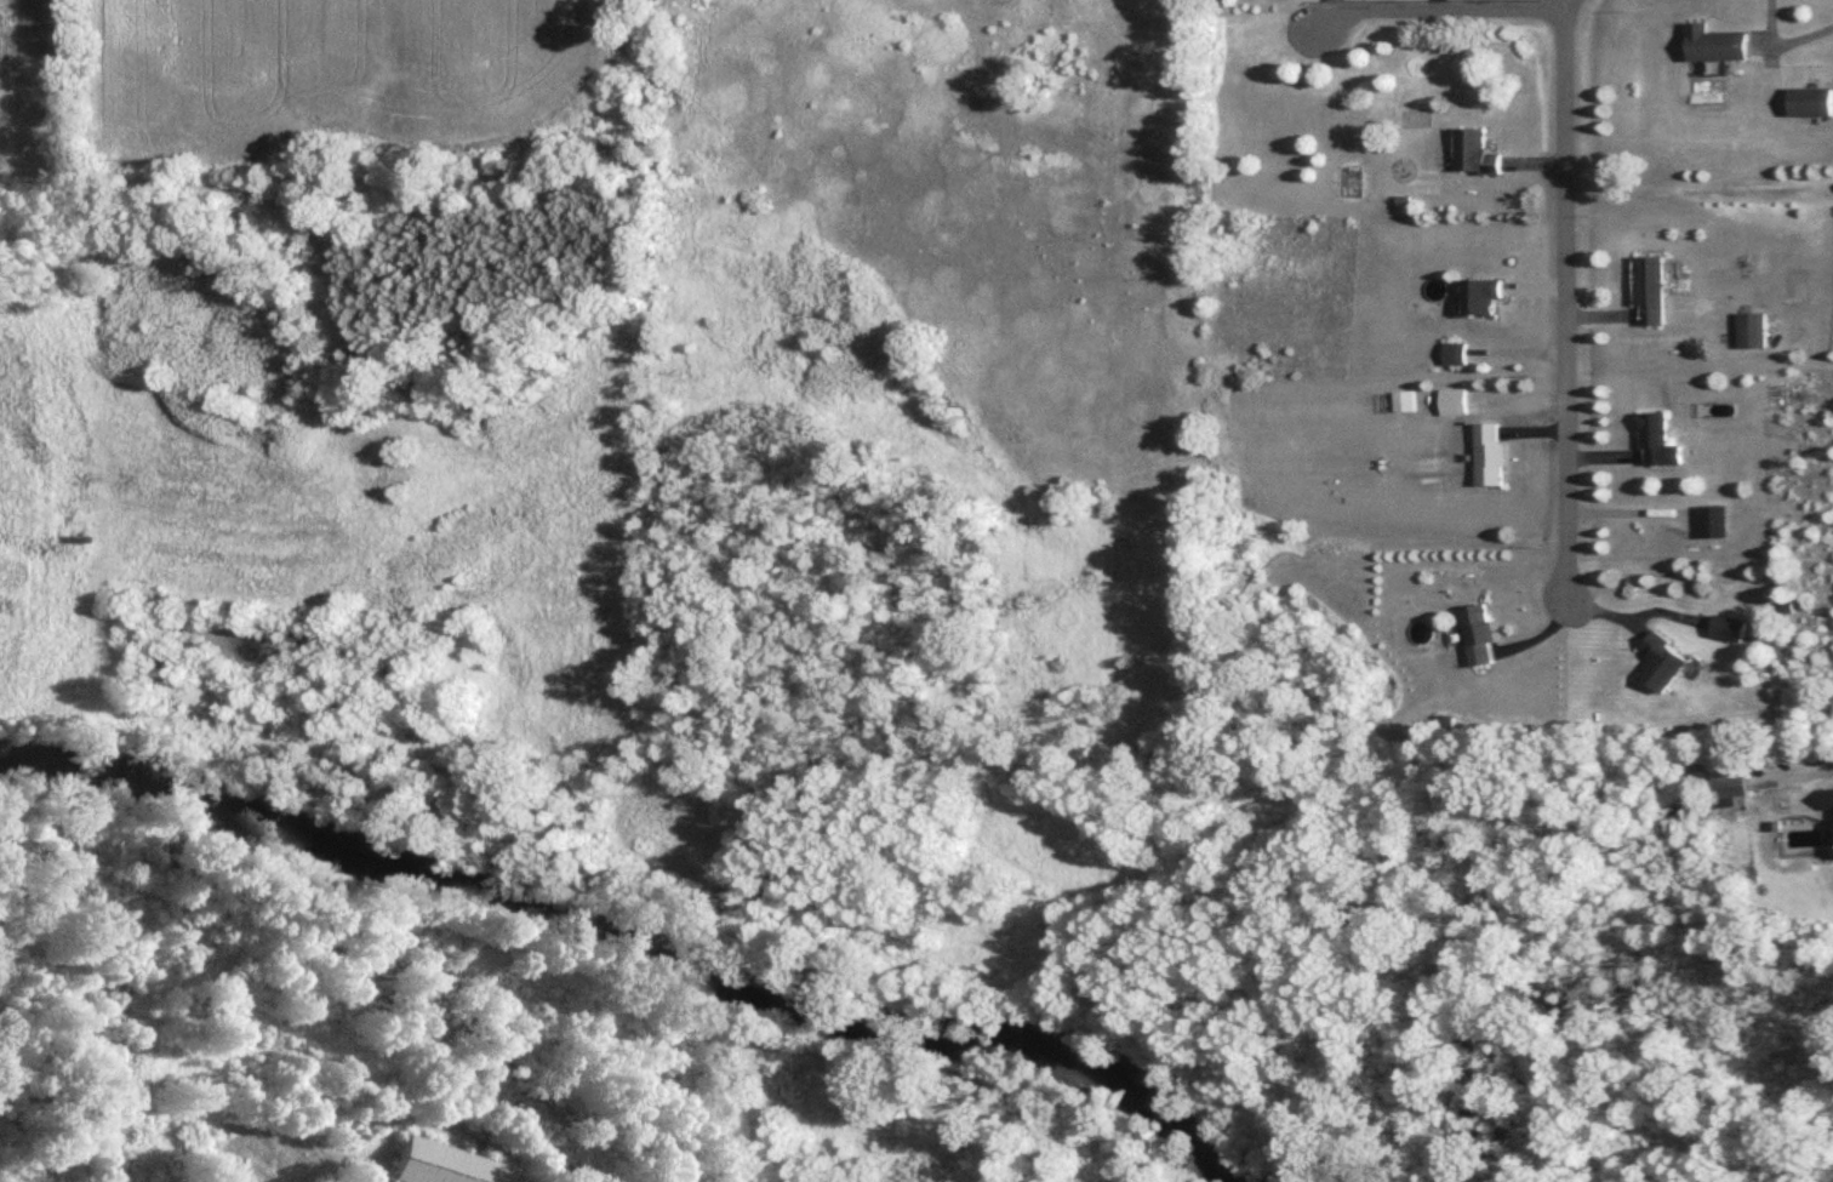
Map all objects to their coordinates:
road: (1438, 11)
road: (1783, 42)
building: (1715, 46)
building: (1811, 103)
building: (1477, 155)
building: (1651, 292)
building: (1483, 298)
road: (1568, 303)
building: (1753, 332)
building: (1457, 355)
building: (1407, 404)
building: (1456, 404)
building: (1660, 444)
building: (1494, 456)
building: (1717, 524)
building: (1731, 632)
building: (1483, 638)
building: (1666, 666)
building: (1734, 789)
building: (1831, 807)
river: (650, 952)
road: (326, 1158)
building: (435, 1166)

